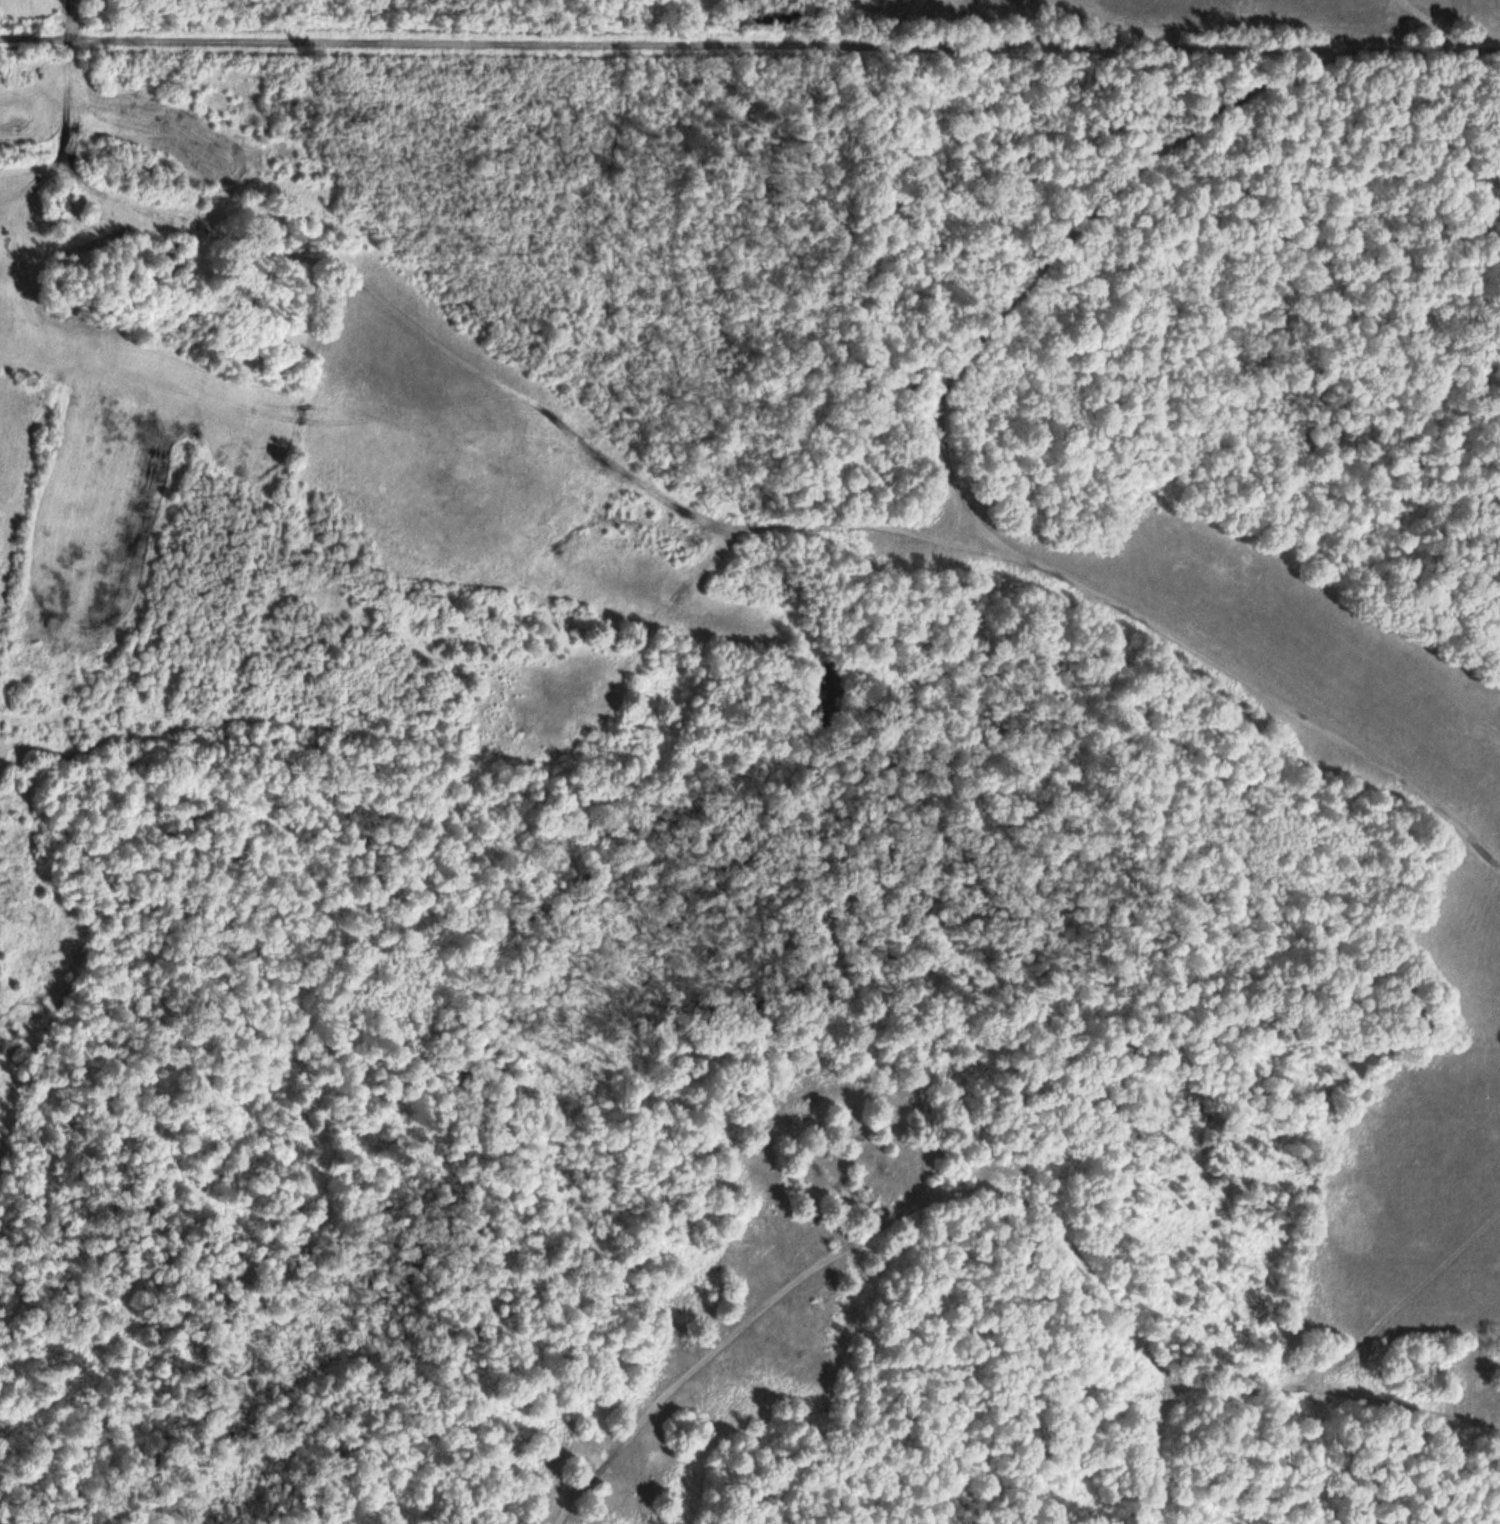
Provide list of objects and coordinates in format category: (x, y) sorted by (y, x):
road: (749, 44)
road: (702, 514)
road: (1010, 1204)
road: (1402, 1310)

